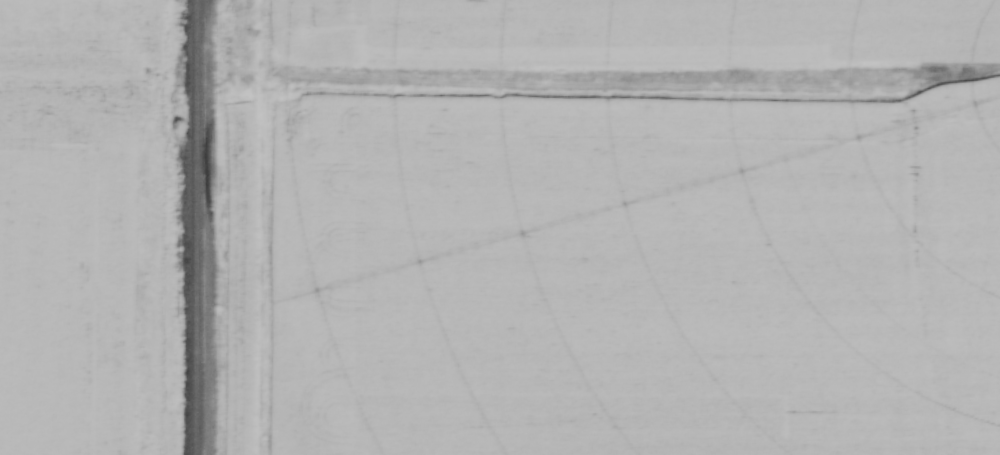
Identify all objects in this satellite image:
railway: (197, 227)

